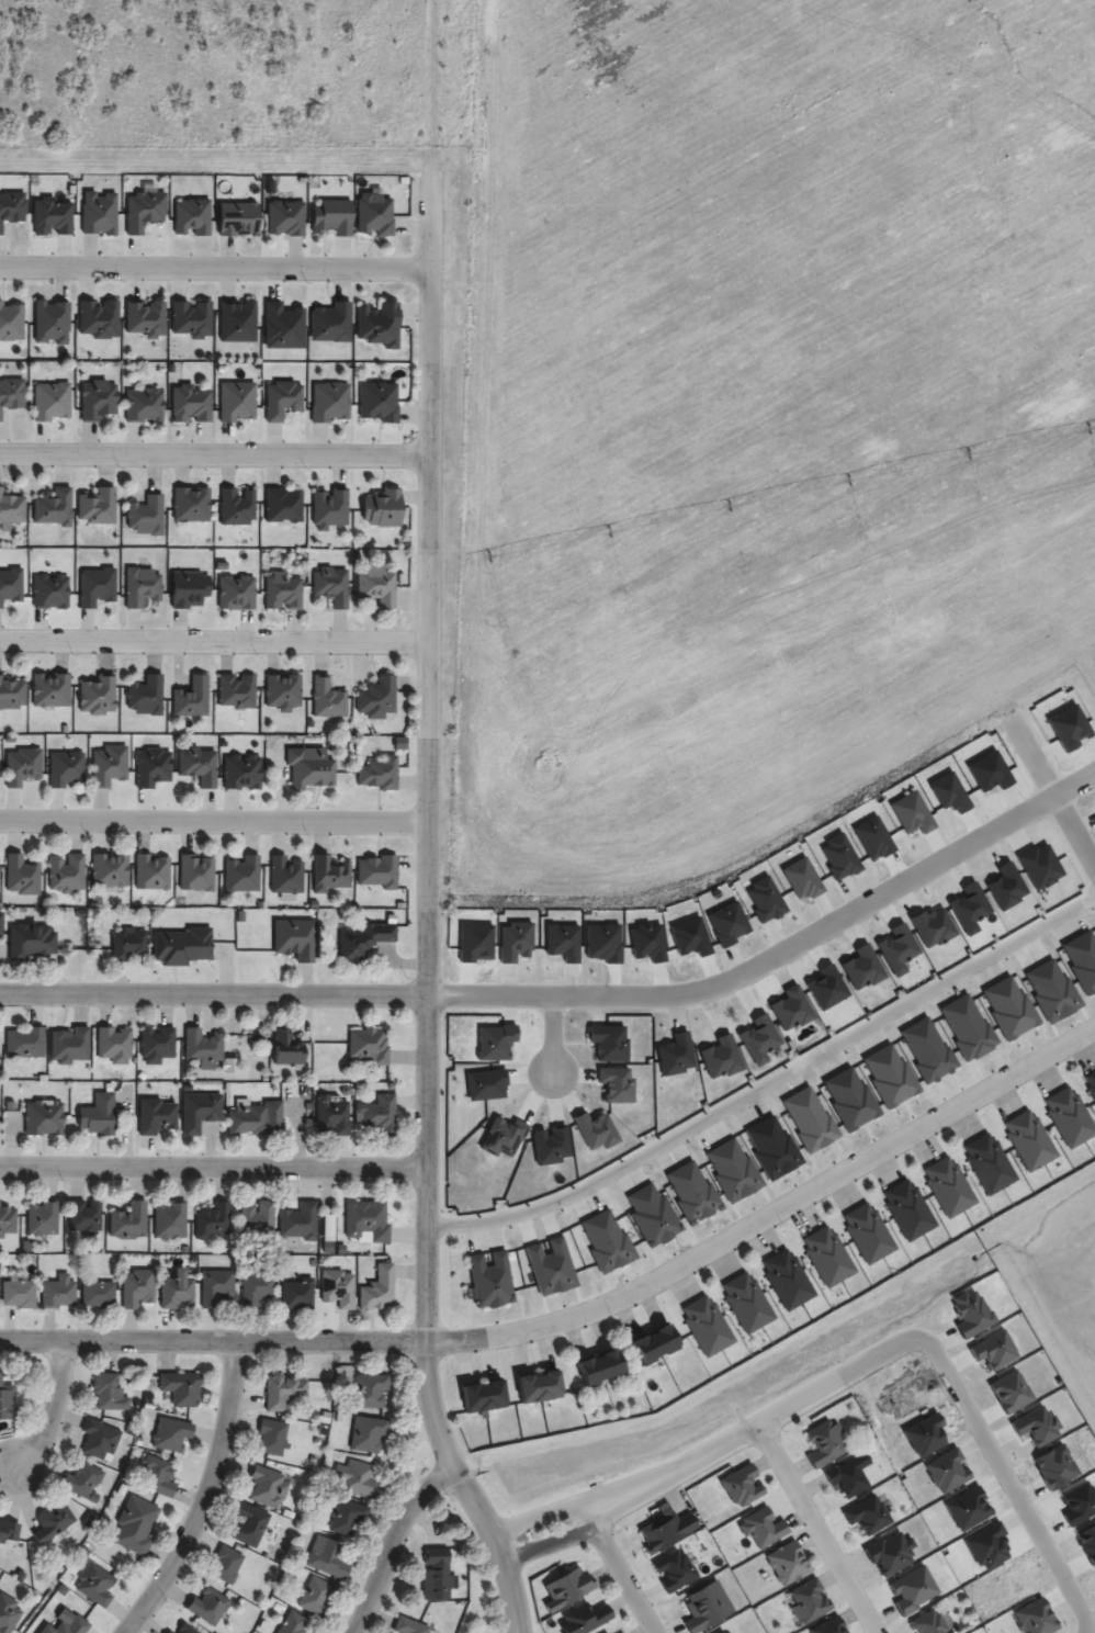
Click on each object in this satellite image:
building: (12, 207)
building: (144, 209)
building: (99, 213)
building: (374, 213)
building: (50, 216)
building: (191, 216)
building: (331, 216)
building: (284, 217)
building: (237, 218)
road: (215, 268)
building: (99, 318)
building: (145, 318)
building: (192, 318)
building: (11, 322)
building: (52, 322)
building: (237, 322)
building: (331, 323)
building: (379, 324)
building: (283, 326)
building: (12, 394)
building: (282, 398)
building: (98, 399)
building: (50, 401)
building: (236, 401)
building: (329, 401)
building: (377, 401)
building: (190, 403)
building: (144, 404)
road: (215, 453)
building: (191, 504)
building: (283, 505)
building: (97, 506)
building: (236, 506)
building: (53, 507)
building: (12, 508)
building: (329, 508)
building: (382, 508)
building: (145, 515)
building: (10, 585)
building: (330, 585)
building: (375, 585)
building: (95, 586)
building: (142, 586)
building: (189, 588)
building: (49, 592)
building: (236, 592)
building: (281, 592)
road: (214, 640)
building: (50, 689)
building: (236, 690)
building: (12, 694)
building: (98, 695)
building: (145, 695)
building: (376, 697)
building: (191, 698)
building: (327, 699)
road: (1007, 714)
building: (109, 765)
building: (197, 765)
building: (22, 766)
building: (151, 767)
building: (309, 767)
building: (65, 768)
building: (241, 772)
building: (379, 773)
road: (538, 821)
building: (109, 869)
building: (151, 871)
building: (377, 871)
building: (66, 872)
building: (195, 872)
building: (241, 874)
building: (329, 874)
building: (21, 875)
building: (285, 877)
road: (428, 912)
building: (0, 923)
building: (294, 938)
building: (363, 939)
building: (30, 941)
building: (128, 944)
building: (181, 946)
building: (1082, 958)
building: (1050, 990)
road: (575, 993)
building: (1008, 1006)
building: (967, 1026)
road: (551, 1034)
building: (24, 1043)
building: (69, 1045)
building: (114, 1045)
building: (157, 1045)
building: (368, 1045)
building: (202, 1047)
building: (285, 1047)
building: (927, 1049)
building: (889, 1075)
road: (768, 1082)
building: (1090, 1082)
building: (849, 1097)
building: (199, 1111)
building: (376, 1113)
building: (97, 1114)
building: (332, 1114)
building: (156, 1116)
building: (1069, 1116)
building: (43, 1117)
building: (255, 1117)
building: (809, 1118)
building: (1028, 1139)
building: (771, 1147)
building: (989, 1162)
road: (214, 1165)
building: (732, 1170)
building: (948, 1185)
building: (692, 1191)
building: (907, 1208)
building: (84, 1215)
building: (652, 1215)
building: (42, 1218)
building: (8, 1219)
building: (256, 1219)
building: (128, 1220)
building: (169, 1220)
building: (212, 1220)
building: (366, 1221)
building: (326, 1229)
building: (867, 1232)
building: (607, 1240)
building: (827, 1255)
building: (551, 1266)
building: (787, 1279)
building: (490, 1280)
building: (256, 1286)
building: (136, 1287)
building: (216, 1287)
building: (338, 1287)
building: (377, 1288)
building: (176, 1289)
building: (58, 1292)
building: (18, 1293)
building: (98, 1293)
building: (296, 1294)
building: (746, 1302)
road: (584, 1314)
building: (705, 1325)
building: (654, 1343)
building: (598, 1367)
building: (538, 1386)
building: (180, 1387)
building: (369, 1389)
building: (282, 1390)
building: (108, 1392)
building: (483, 1396)
building: (7, 1400)
road: (798, 1401)
road: (52, 1408)
building: (340, 1417)
building: (170, 1433)
building: (366, 1433)
building: (272, 1437)
building: (99, 1439)
building: (824, 1443)
building: (869, 1448)
building: (327, 1455)
road: (681, 1468)
building: (848, 1474)
building: (157, 1476)
building: (355, 1478)
road: (1007, 1479)
building: (81, 1482)
building: (741, 1486)
building: (267, 1487)
road: (207, 1497)
building: (867, 1514)
building: (347, 1516)
building: (53, 1520)
building: (248, 1524)
building: (134, 1525)
building: (319, 1525)
building: (761, 1528)
road: (817, 1529)
building: (665, 1530)
building: (9, 1531)
road: (393, 1541)
building: (889, 1552)
building: (327, 1557)
building: (787, 1562)
building: (225, 1564)
road: (619, 1566)
building: (674, 1569)
building: (437, 1575)
building: (94, 1584)
building: (566, 1588)
building: (911, 1589)
building: (316, 1596)
building: (808, 1600)
building: (207, 1606)
building: (705, 1607)
building: (276, 1608)
building: (8, 1613)
building: (1035, 1617)
building: (583, 1618)
building: (66, 1623)
building: (292, 1623)
building: (928, 1623)
building: (261, 1624)
building: (409, 1625)
building: (828, 1625)
building: (185, 1629)
road: (518, 1629)
building: (168, 1632)
building: (605, 1632)
building: (720, 1632)
building: (952, 1632)
road: (1084, 1632)

